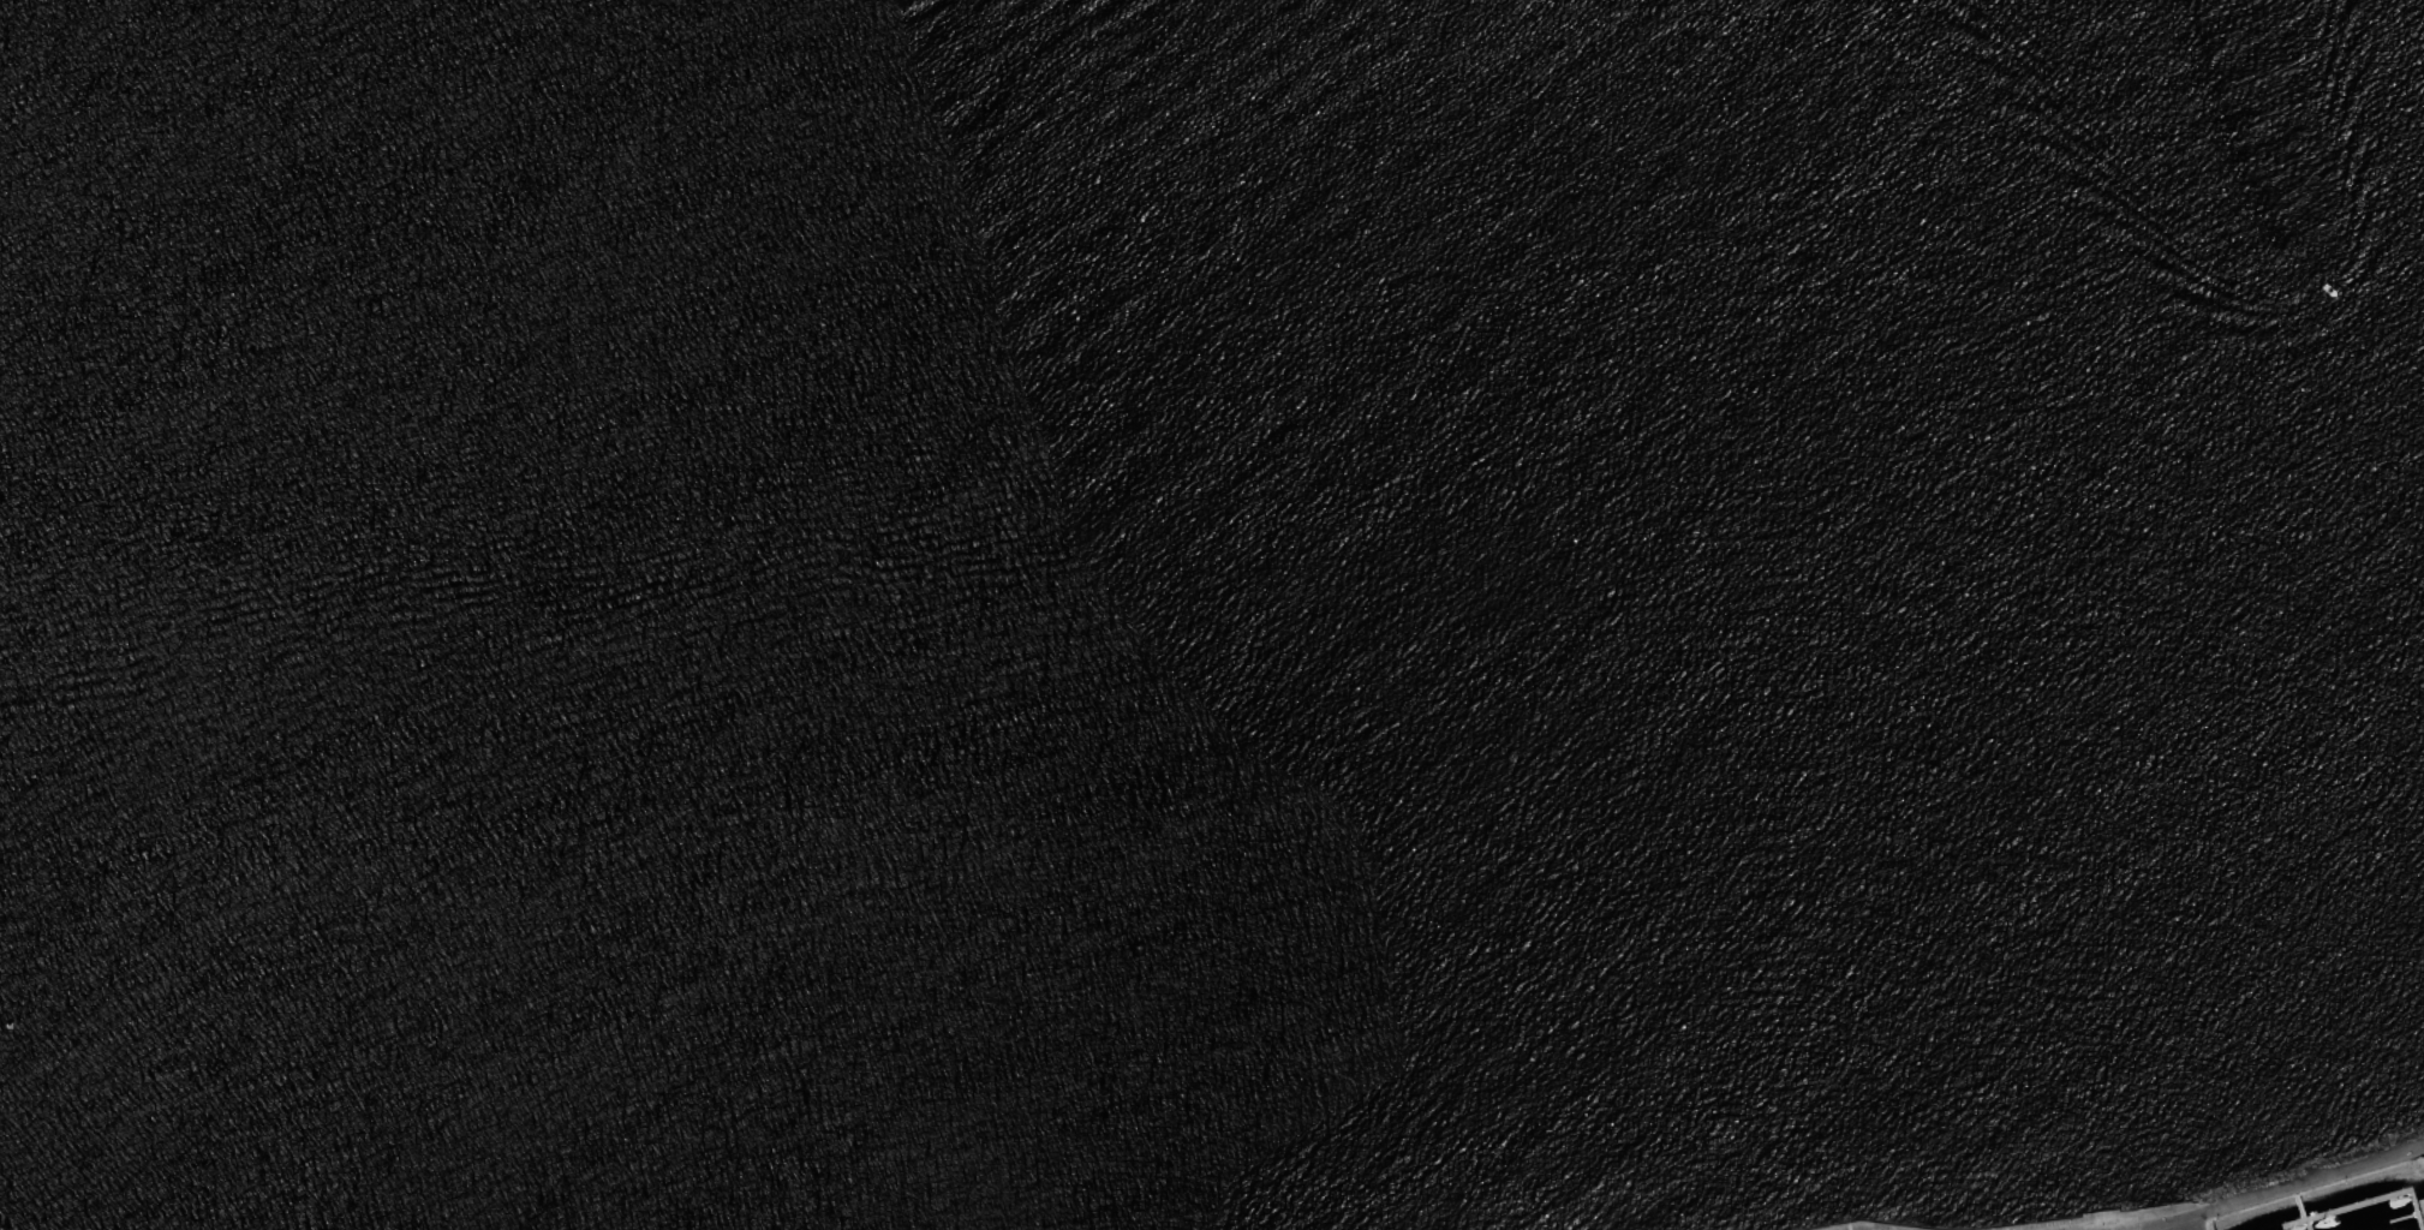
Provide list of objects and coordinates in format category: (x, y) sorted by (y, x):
road: (2303, 1184)
pier: (2365, 1202)
pier: (2301, 1208)
pier: (2402, 1218)
parking lot: (2126, 1228)

